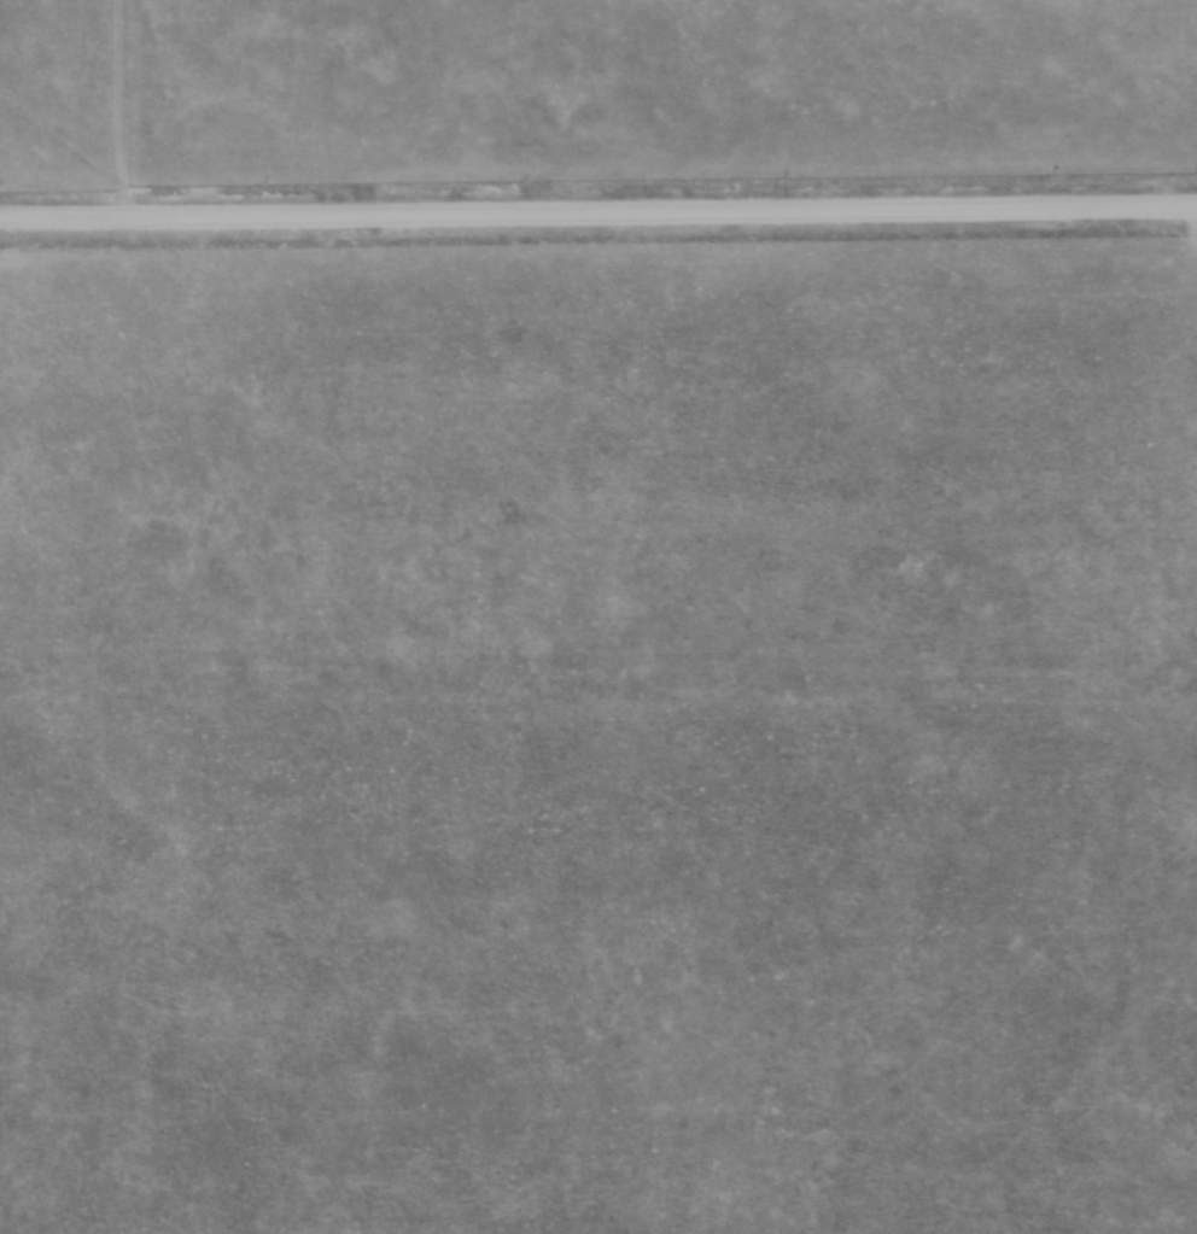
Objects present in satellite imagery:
road: (597, 212)

